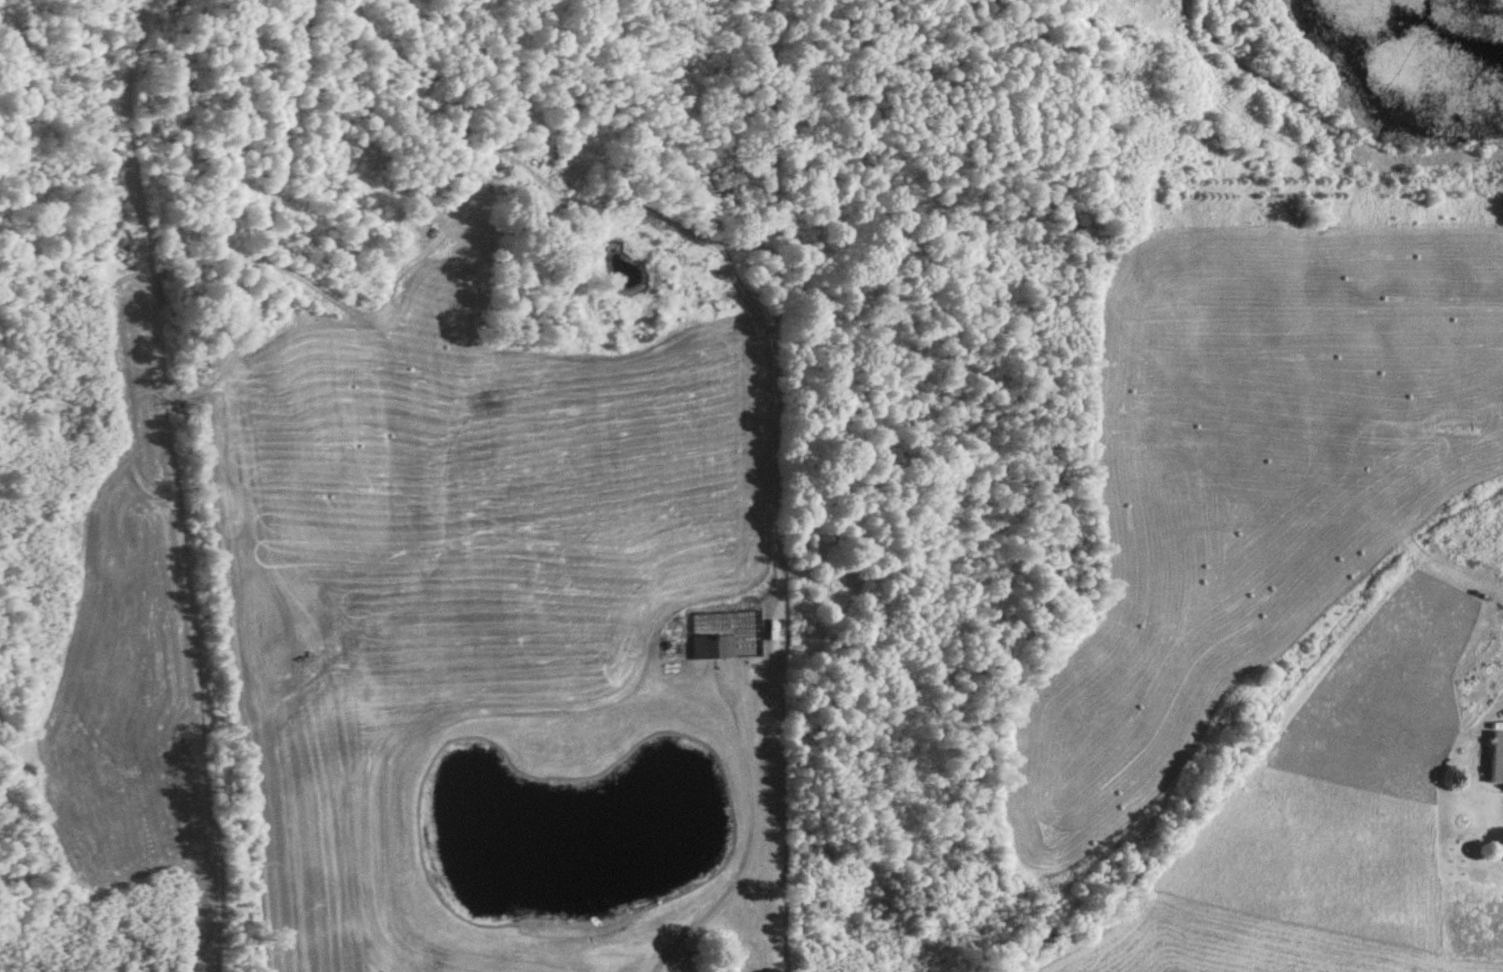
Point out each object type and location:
building: (713, 647)
building: (1496, 757)
road: (745, 841)

